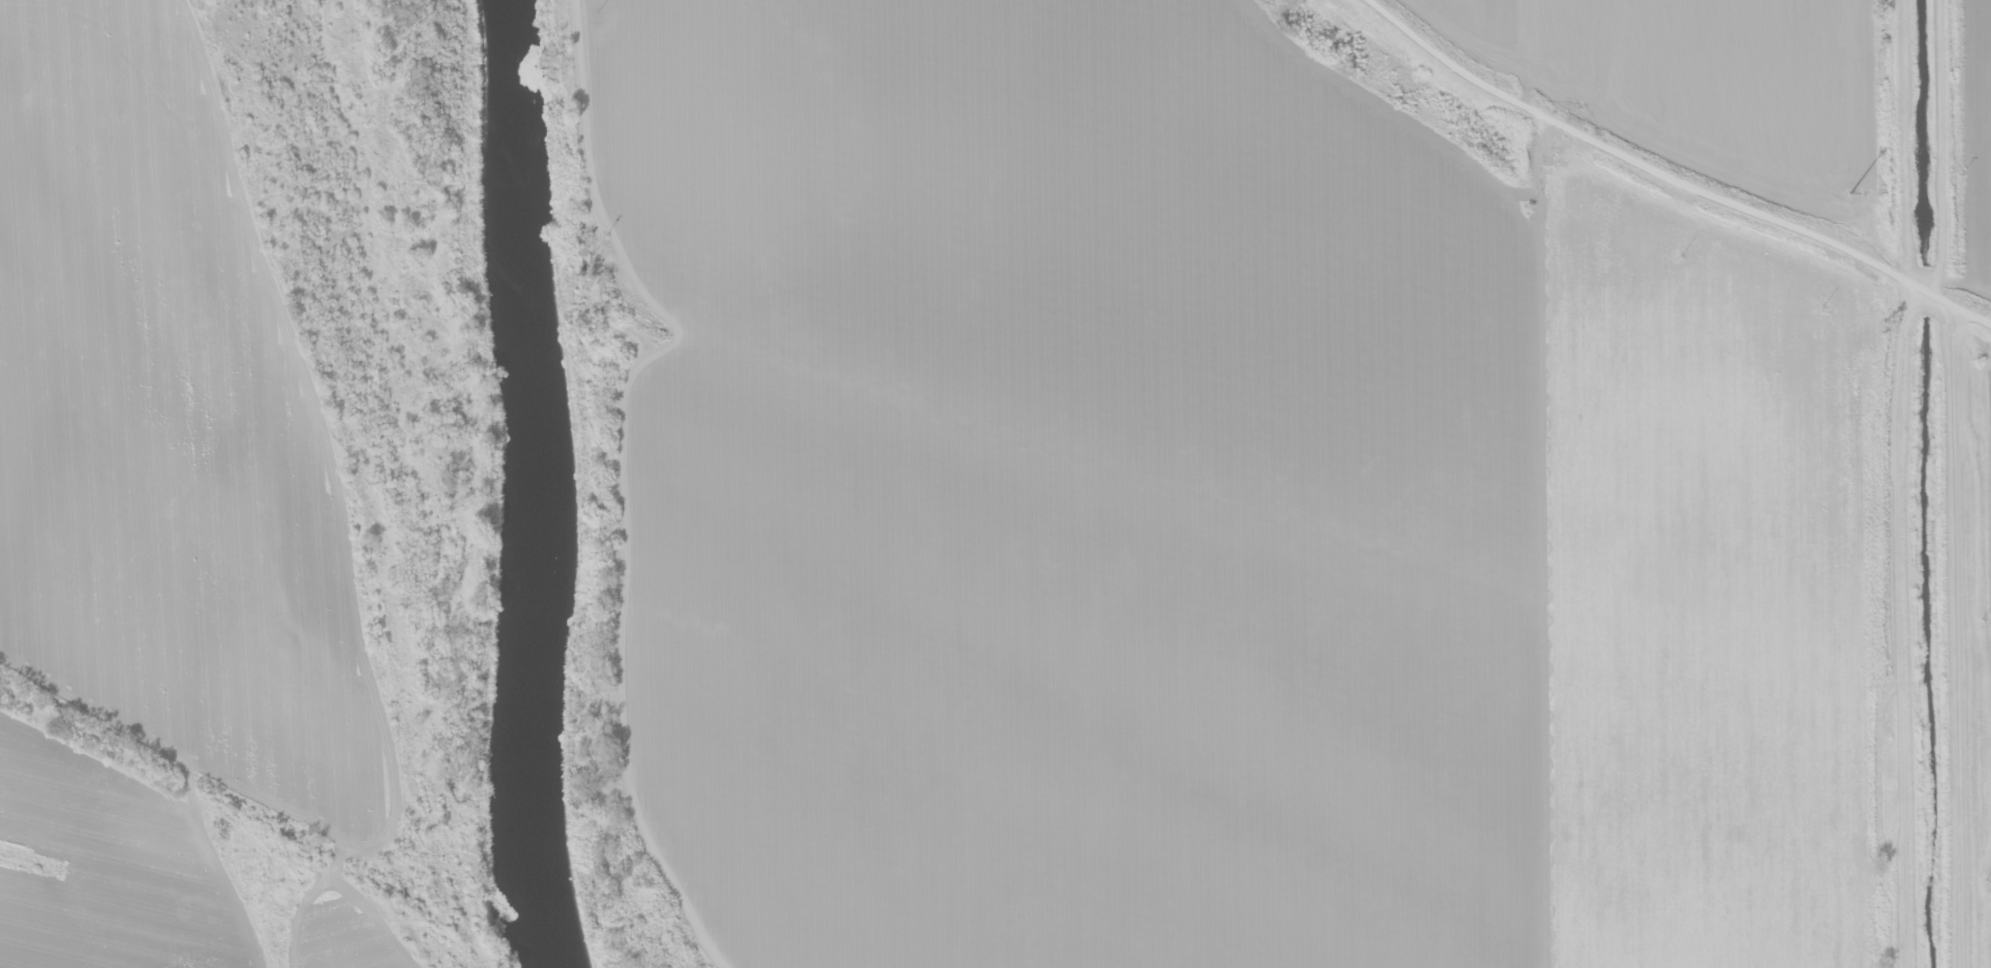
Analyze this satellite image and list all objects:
road: (1667, 181)
river: (537, 483)
road: (1951, 640)

